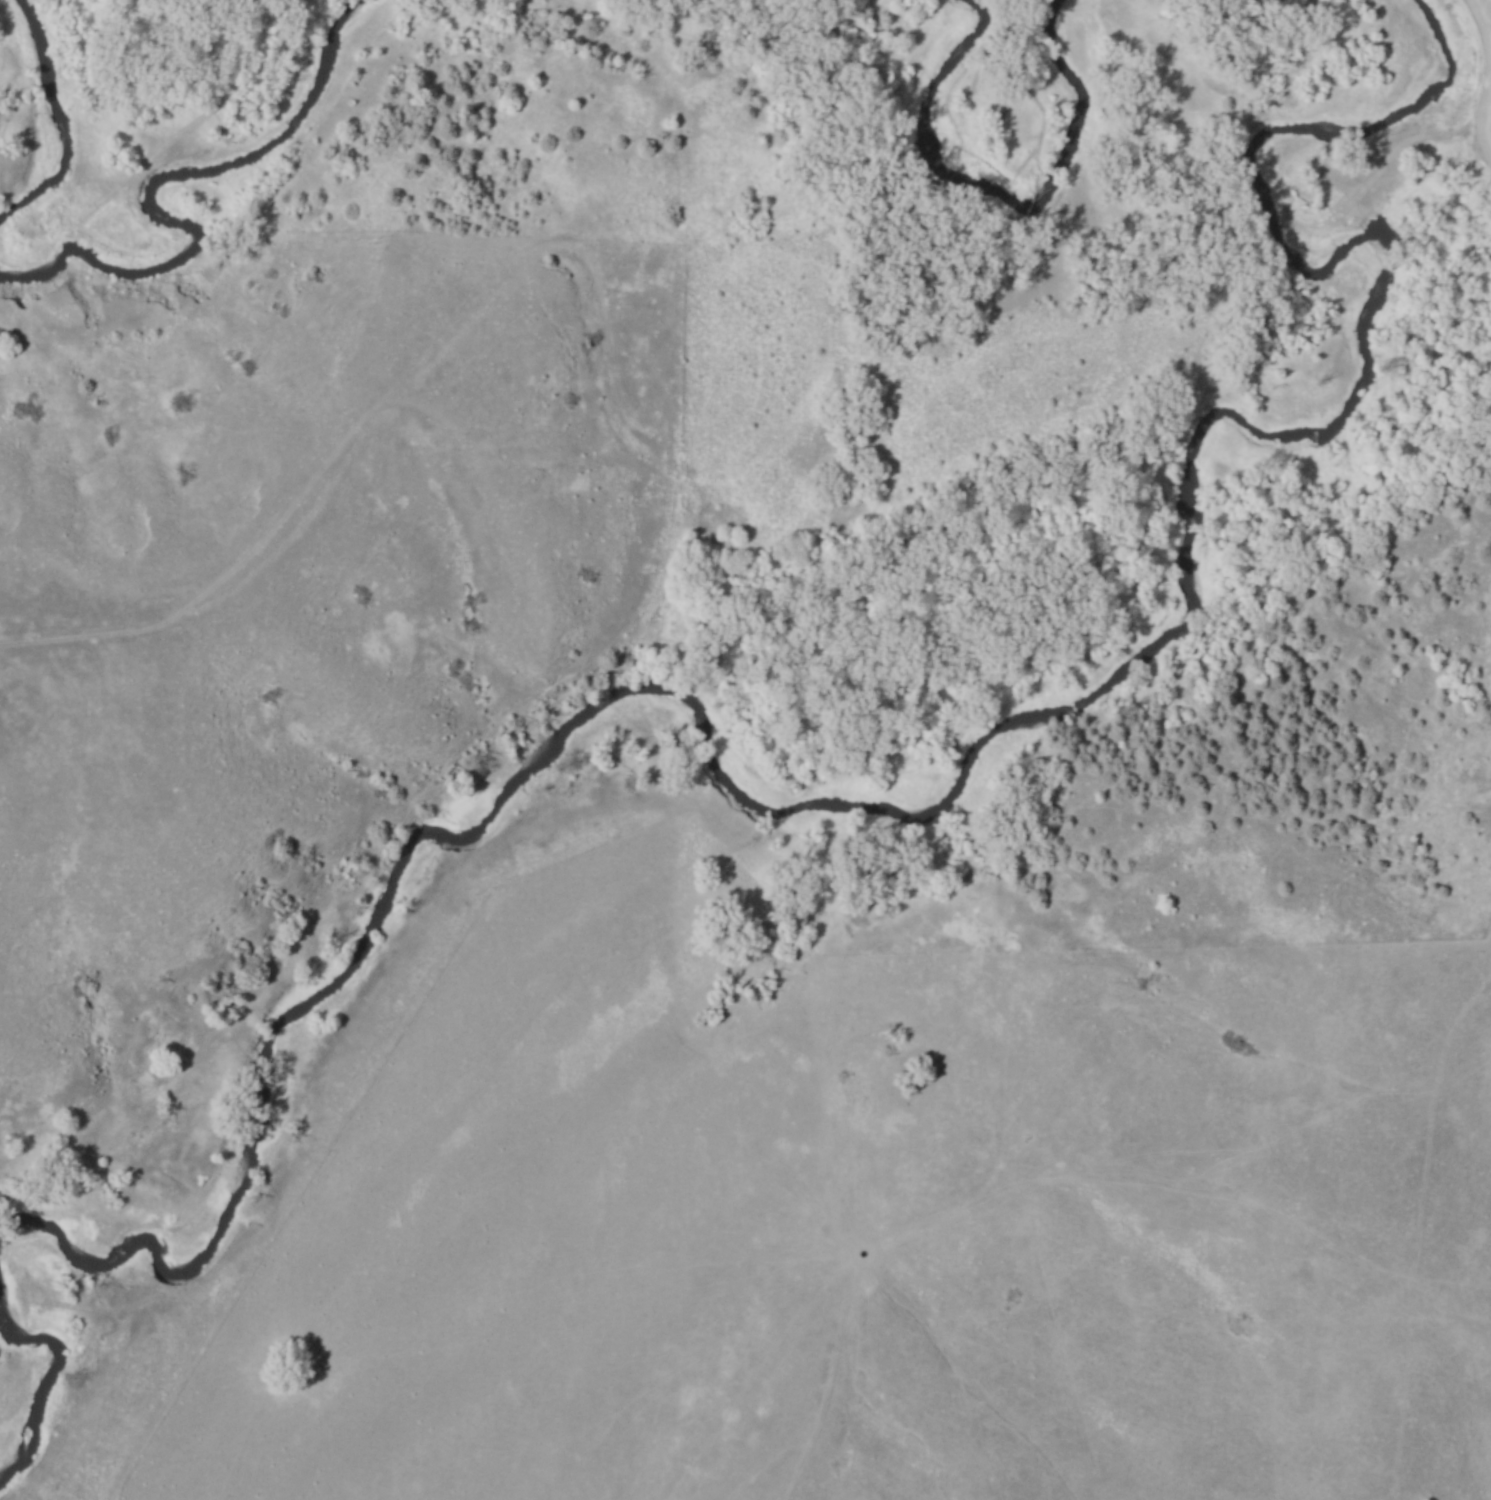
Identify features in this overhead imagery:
crop: (1486, 10)
crop: (1488, 98)

